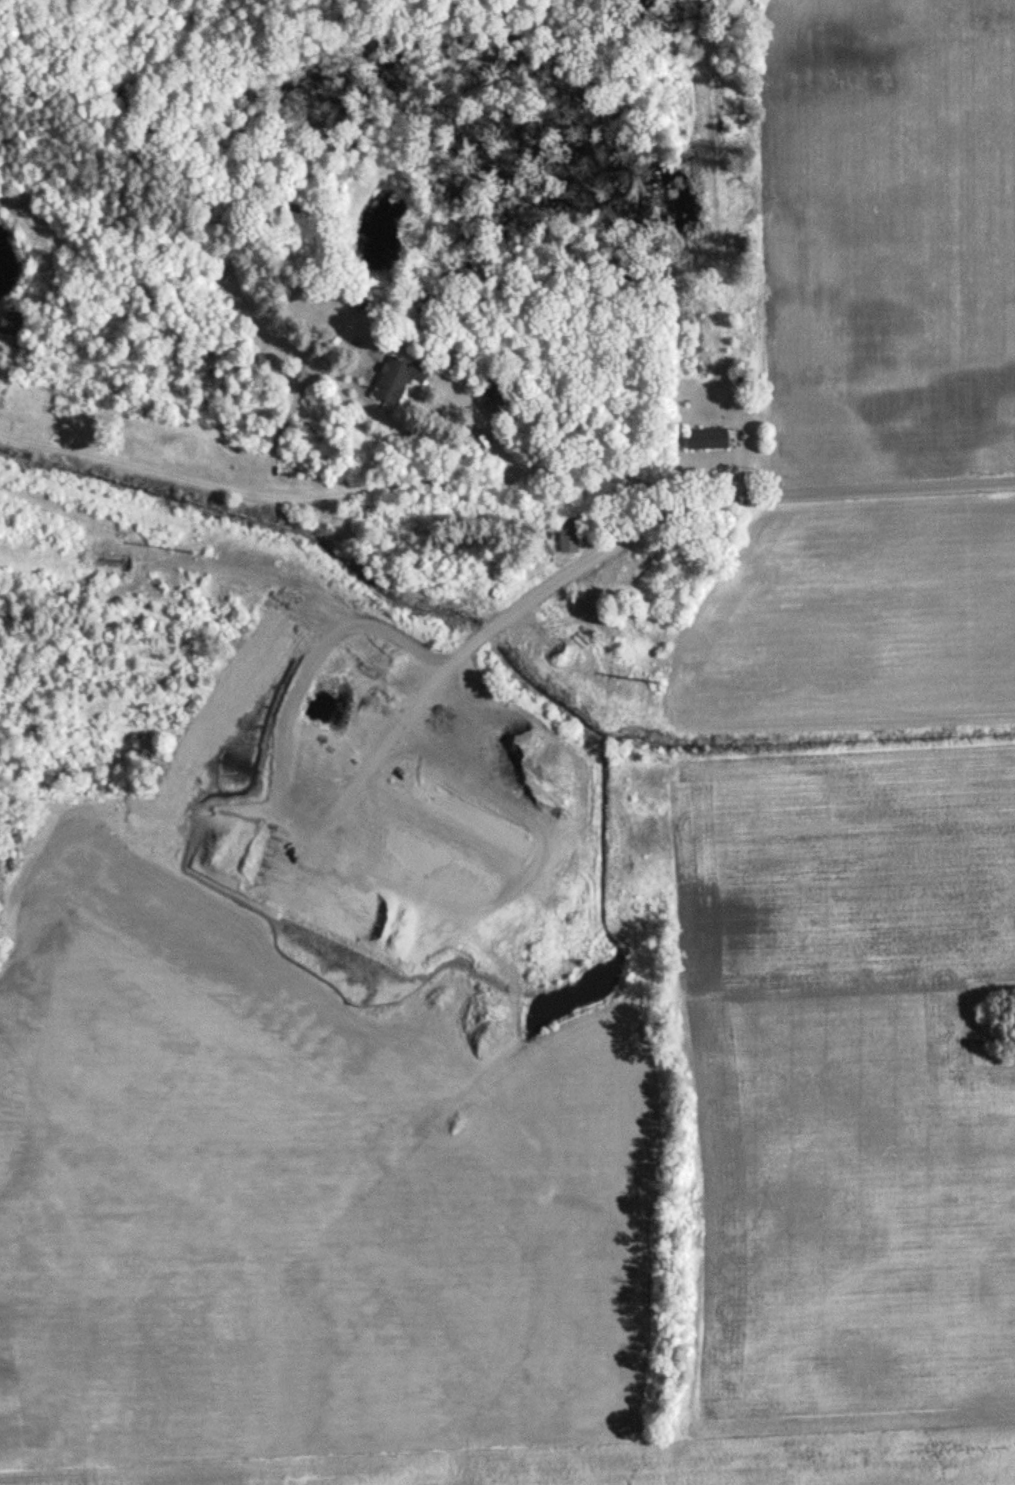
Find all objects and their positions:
building: (9, 326)
building: (392, 379)
building: (703, 440)
road: (775, 494)
road: (267, 495)
building: (566, 540)
power tower: (191, 552)
power tower: (661, 682)

